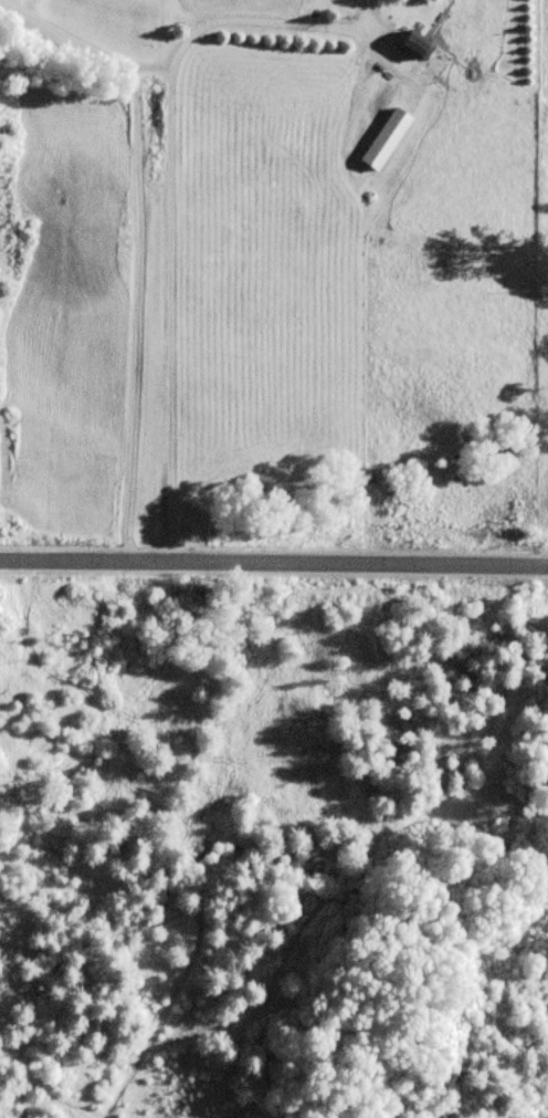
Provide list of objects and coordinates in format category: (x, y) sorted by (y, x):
building: (422, 58)
building: (383, 139)
road: (138, 243)
road: (273, 558)

